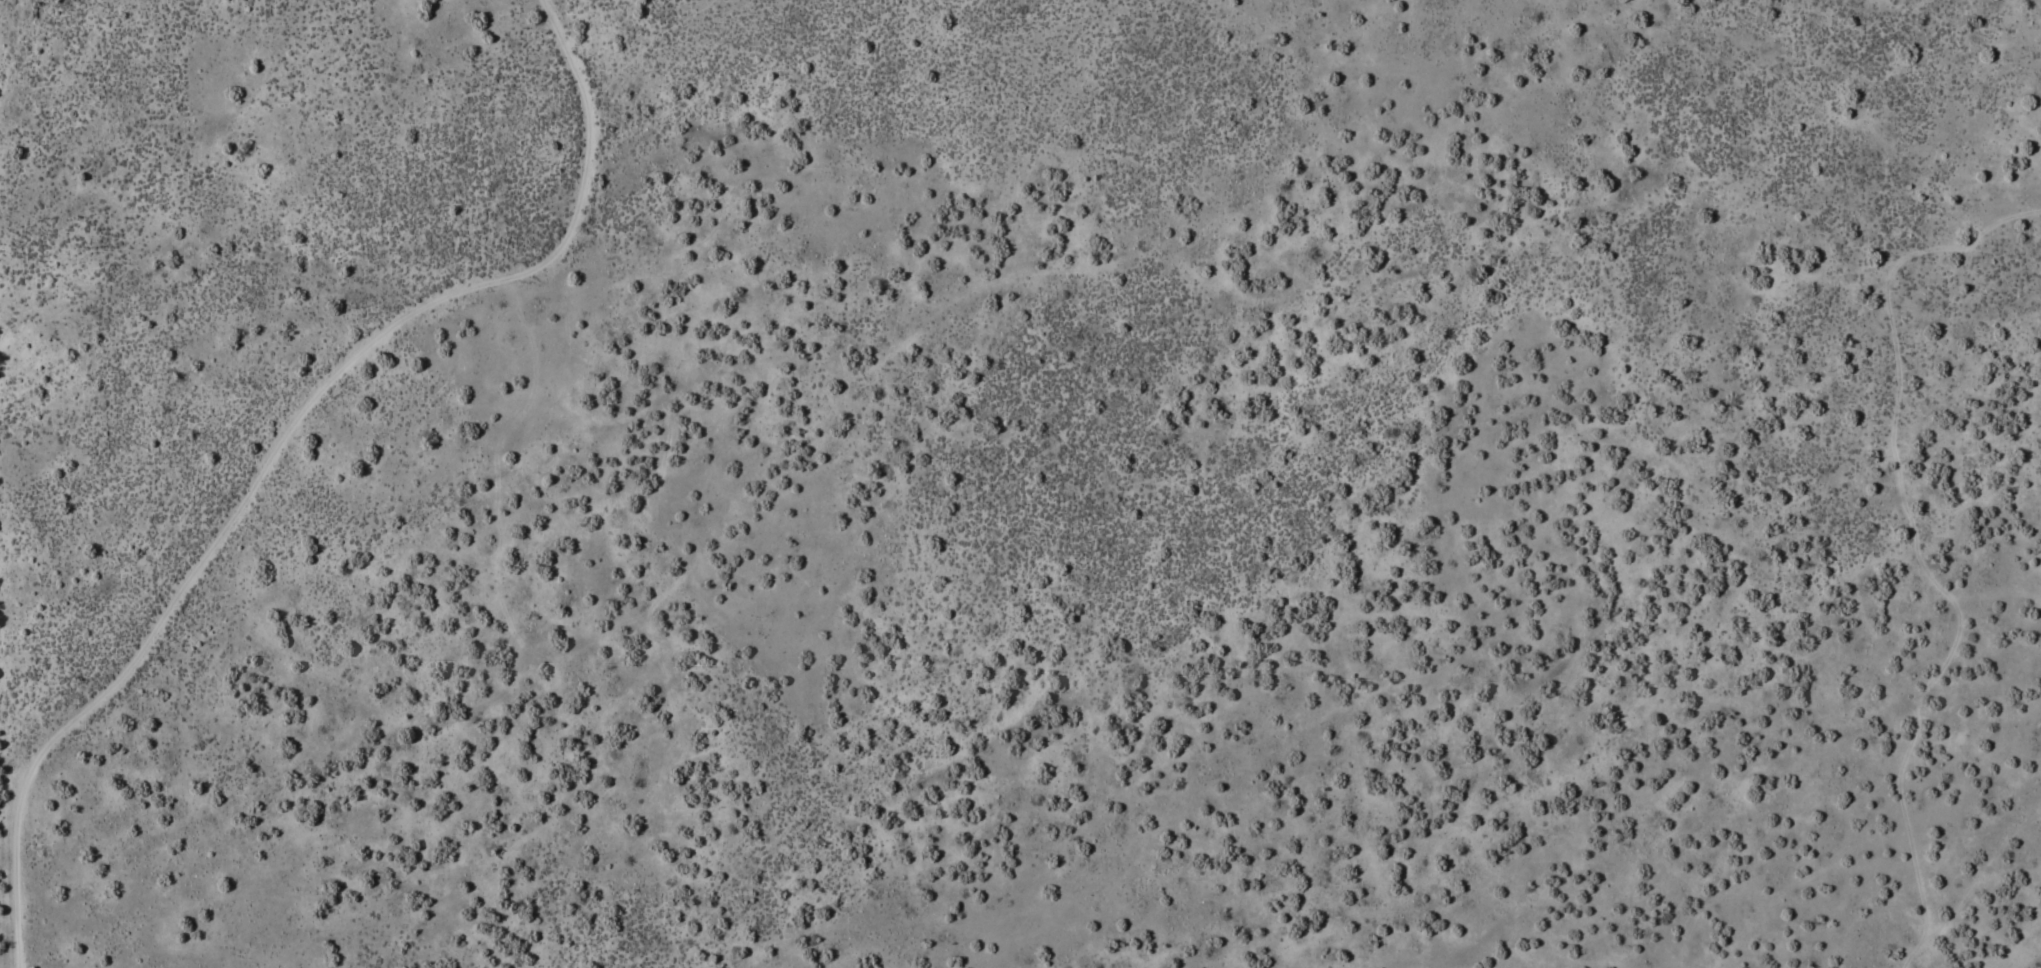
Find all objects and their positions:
road: (278, 459)

